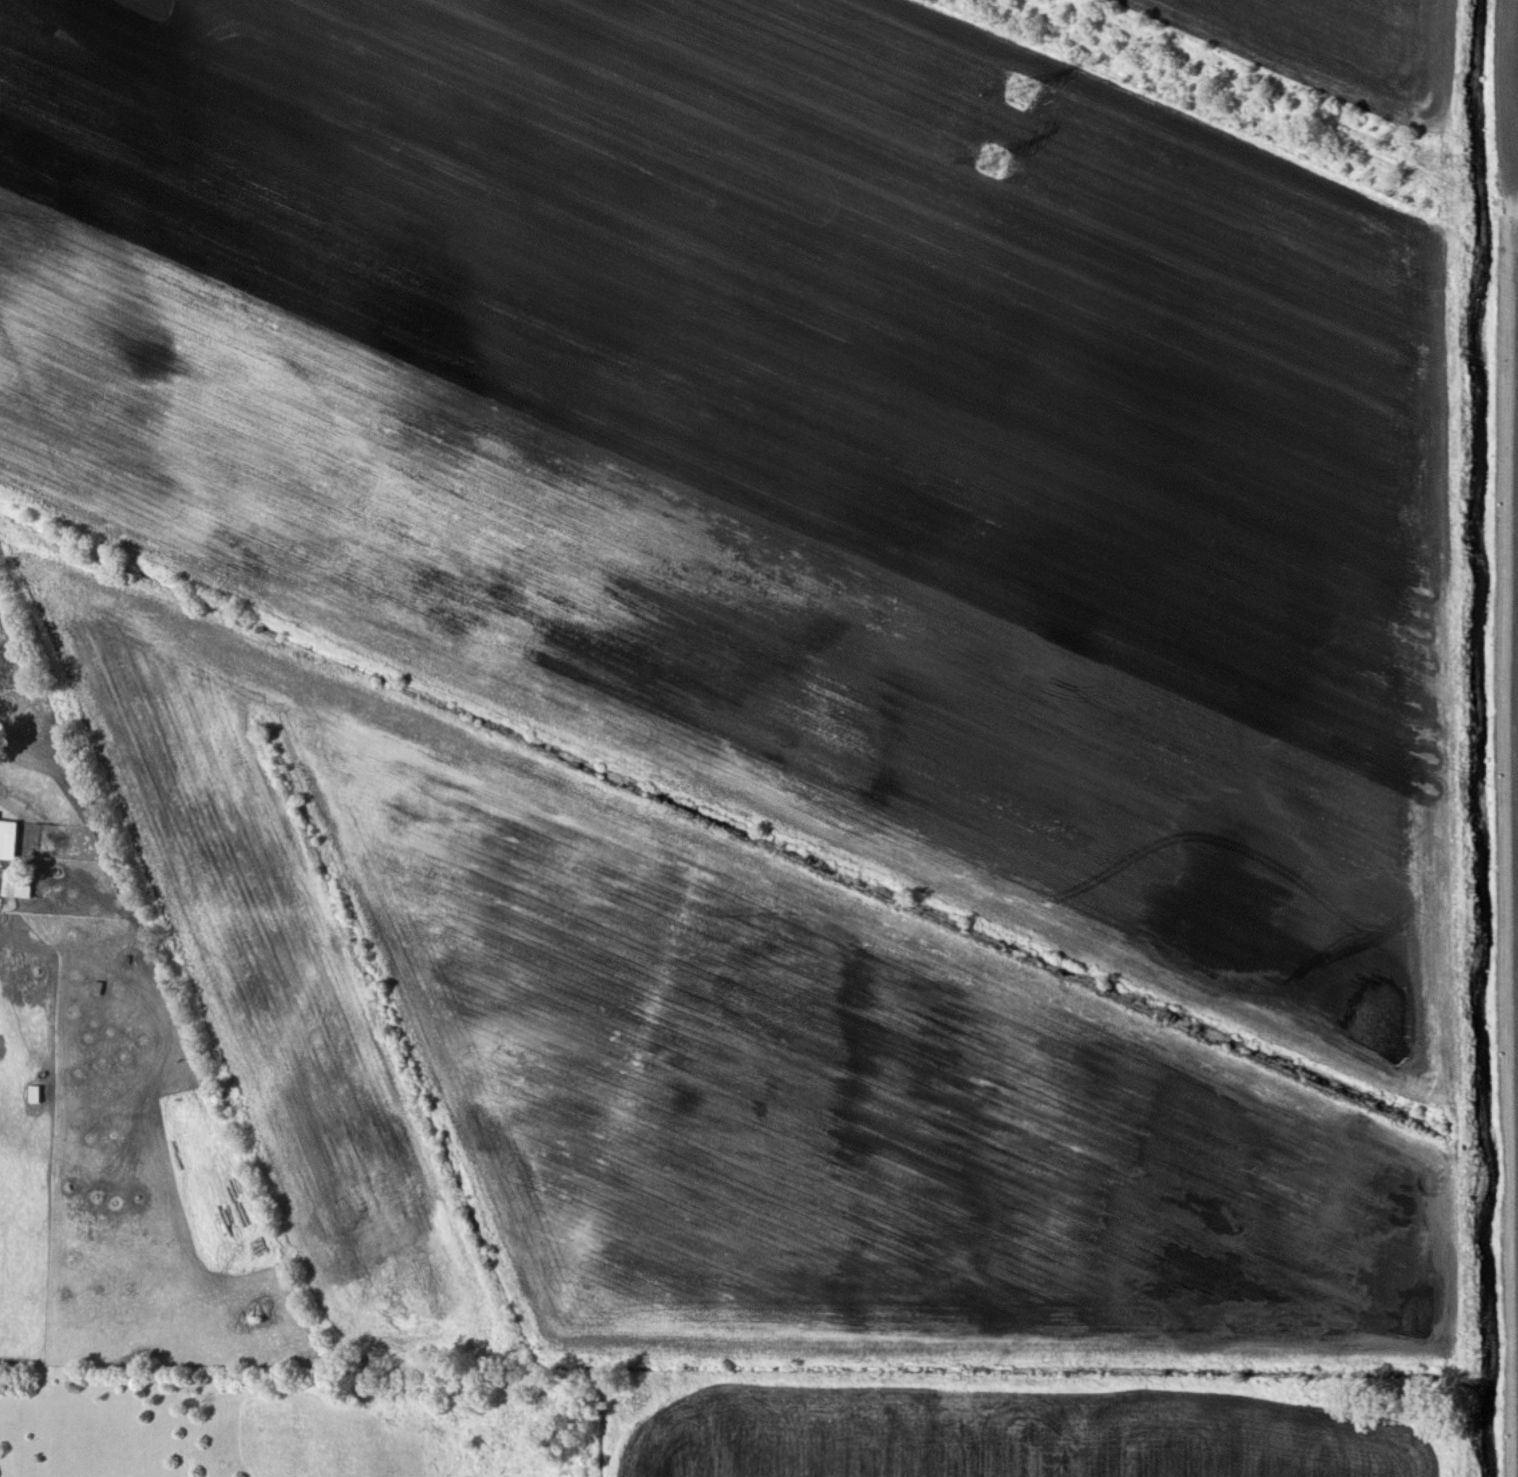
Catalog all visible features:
power tower: (1022, 92)
power tower: (992, 159)
building: (8, 838)
building: (18, 884)

